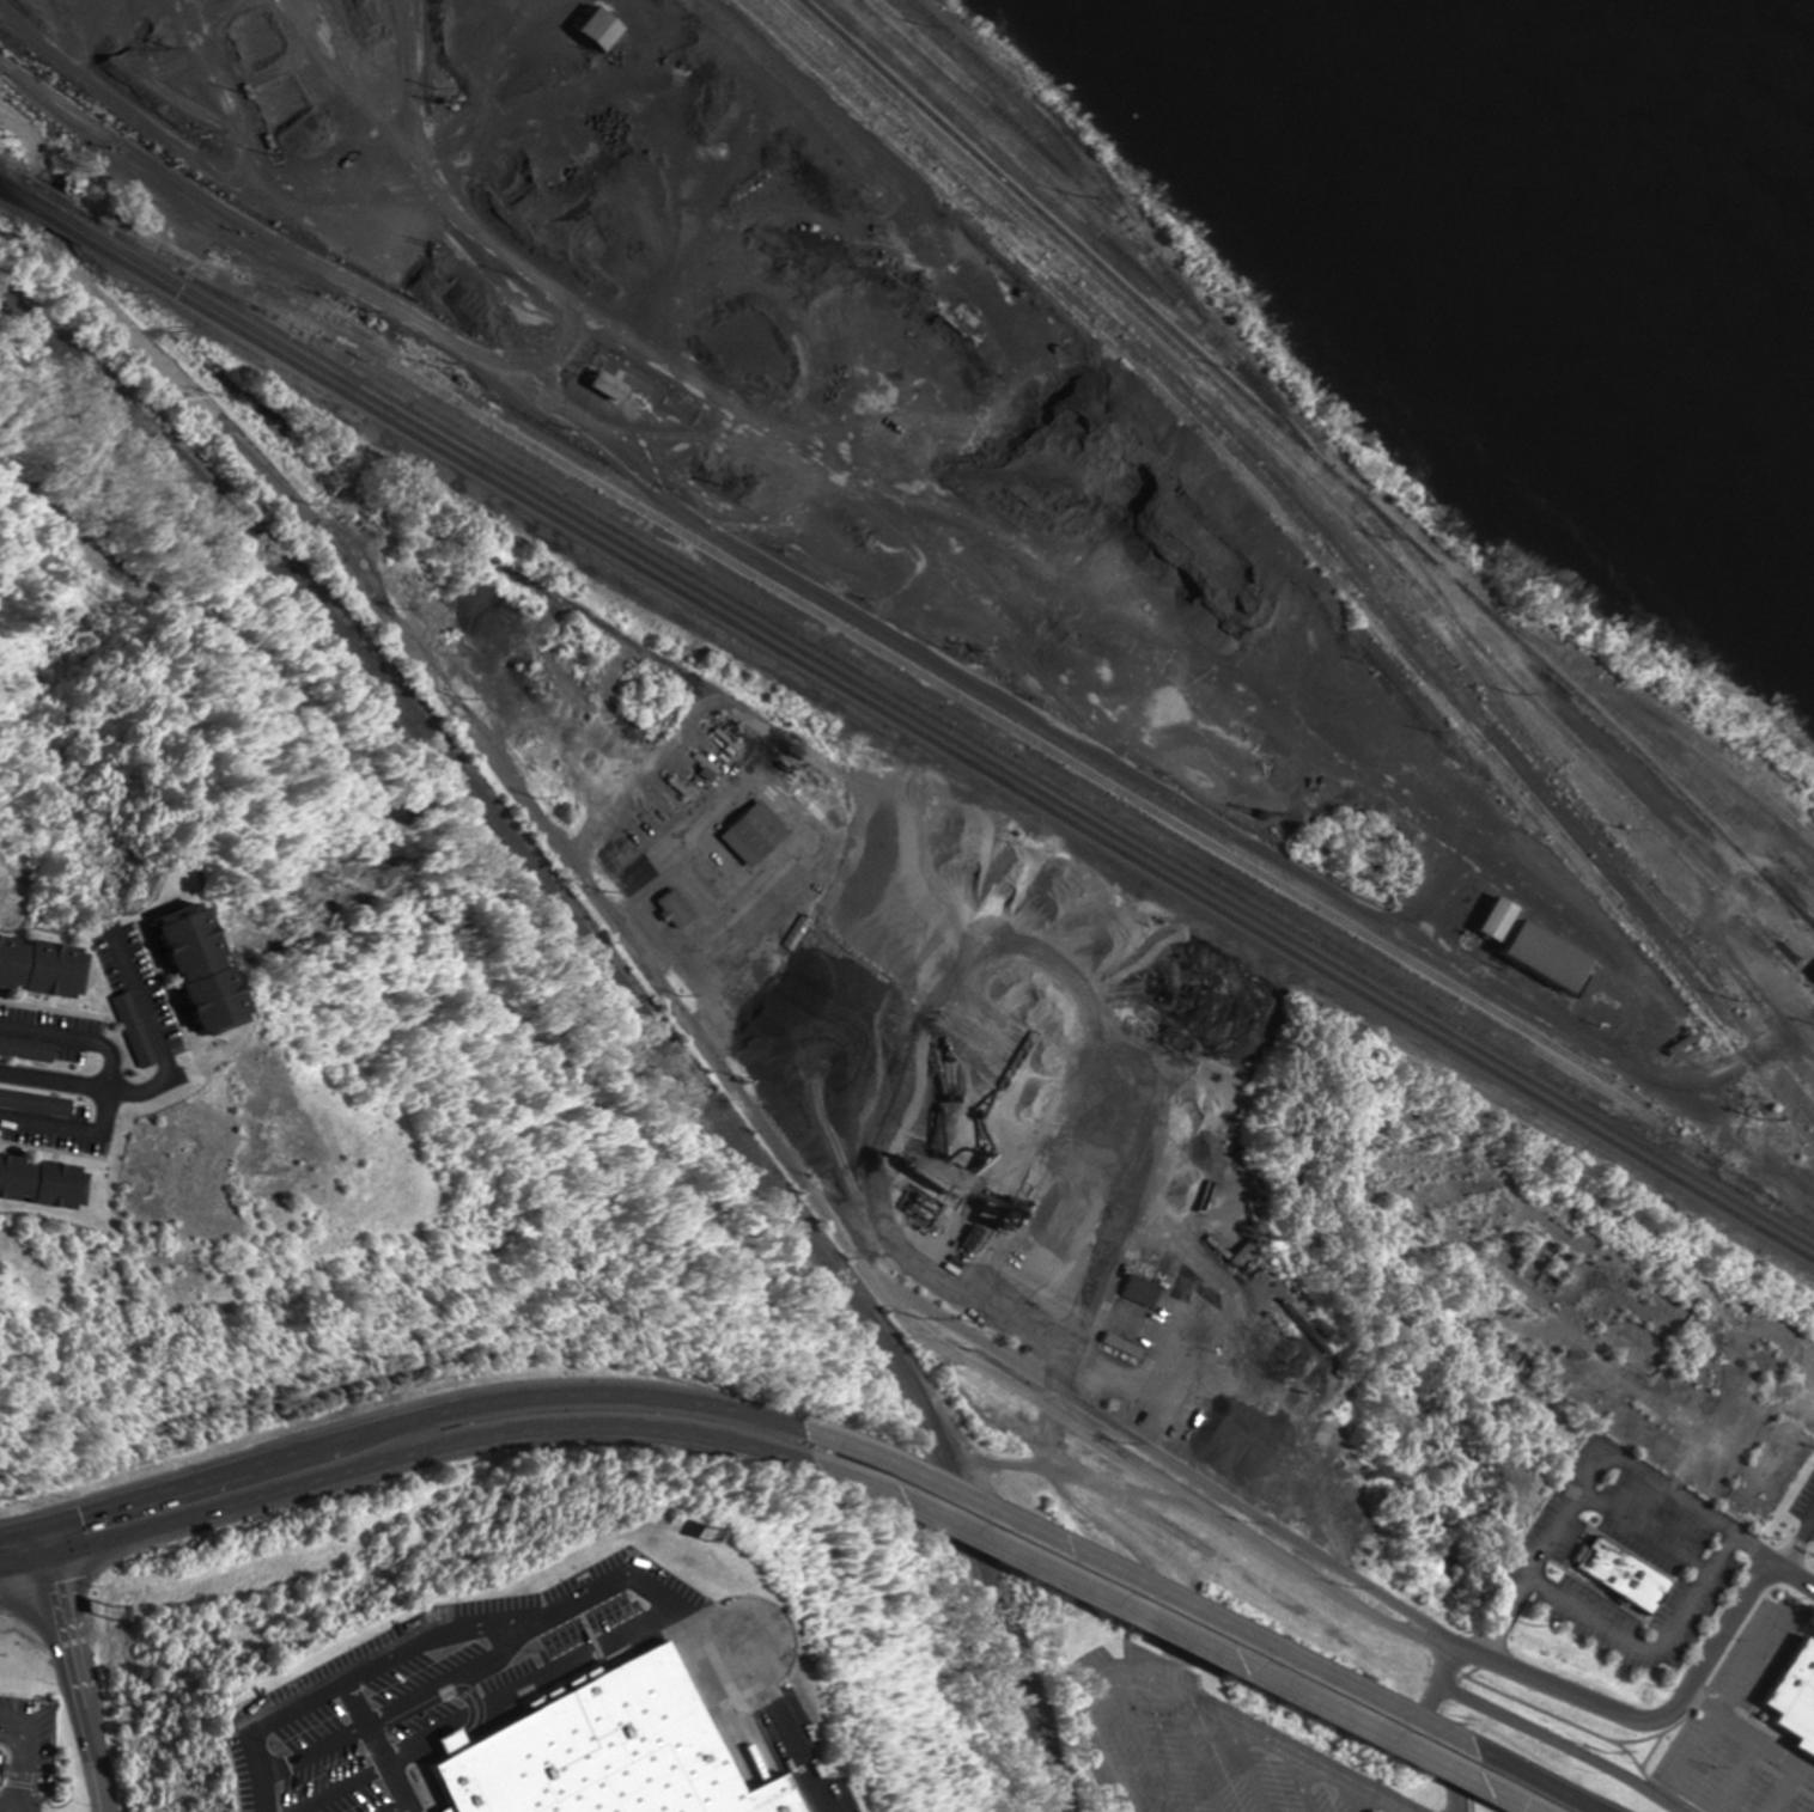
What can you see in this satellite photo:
building: (604, 26)
river: (1769, 38)
railway: (80, 74)
railway: (1005, 120)
railway: (1022, 164)
railway: (16, 171)
railway: (17, 185)
railway: (47, 190)
railway: (18, 200)
railway: (69, 205)
railway: (50, 207)
railway: (53, 220)
railway: (1122, 226)
building: (611, 385)
railway: (1241, 415)
railway: (1268, 458)
railway: (1314, 459)
railway: (1314, 526)
railway: (1308, 533)
railway: (1302, 542)
road: (1075, 587)
railway: (909, 665)
railway: (962, 684)
railway: (920, 708)
railway: (941, 708)
railway: (1648, 708)
railway: (980, 720)
railway: (941, 731)
railway: (941, 744)
railway: (1673, 765)
railway: (1630, 804)
building: (744, 834)
railway: (1801, 878)
building: (1486, 926)
railway: (1693, 953)
building: (44, 968)
building: (220, 970)
railway: (1728, 975)
railway: (617, 994)
building: (136, 1030)
road: (75, 1032)
building: (28, 1050)
road: (85, 1084)
road: (762, 1125)
road: (74, 1139)
building: (44, 1183)
road: (1016, 1196)
building: (1133, 1292)
building: (1286, 1405)
road: (407, 1416)
road: (418, 1453)
road: (1171, 1487)
road: (1691, 1505)
traffic signals: (39, 1520)
road: (1643, 1531)
road: (1798, 1538)
road: (1541, 1548)
traffic signals: (48, 1558)
road: (1790, 1569)
building: (1619, 1574)
railway: (1057, 1584)
building: (601, 1611)
road: (1207, 1616)
road: (510, 1619)
road: (1189, 1645)
road: (1651, 1648)
road: (72, 1665)
road: (451, 1679)
road: (531, 1688)
road: (1192, 1691)
road: (1725, 1695)
road: (772, 1696)
building: (1794, 1698)
road: (1429, 1726)
road: (258, 1729)
road: (1748, 1732)
road: (1150, 1739)
road: (1558, 1744)
road: (1198, 1745)
road: (370, 1749)
road: (312, 1751)
building: (603, 1752)
building: (5, 1762)
road: (1254, 1763)
road: (1734, 1775)
road: (1307, 1779)
road: (1783, 1788)
road: (337, 1790)
road: (1359, 1794)
road: (390, 1807)
road: (1595, 1808)

